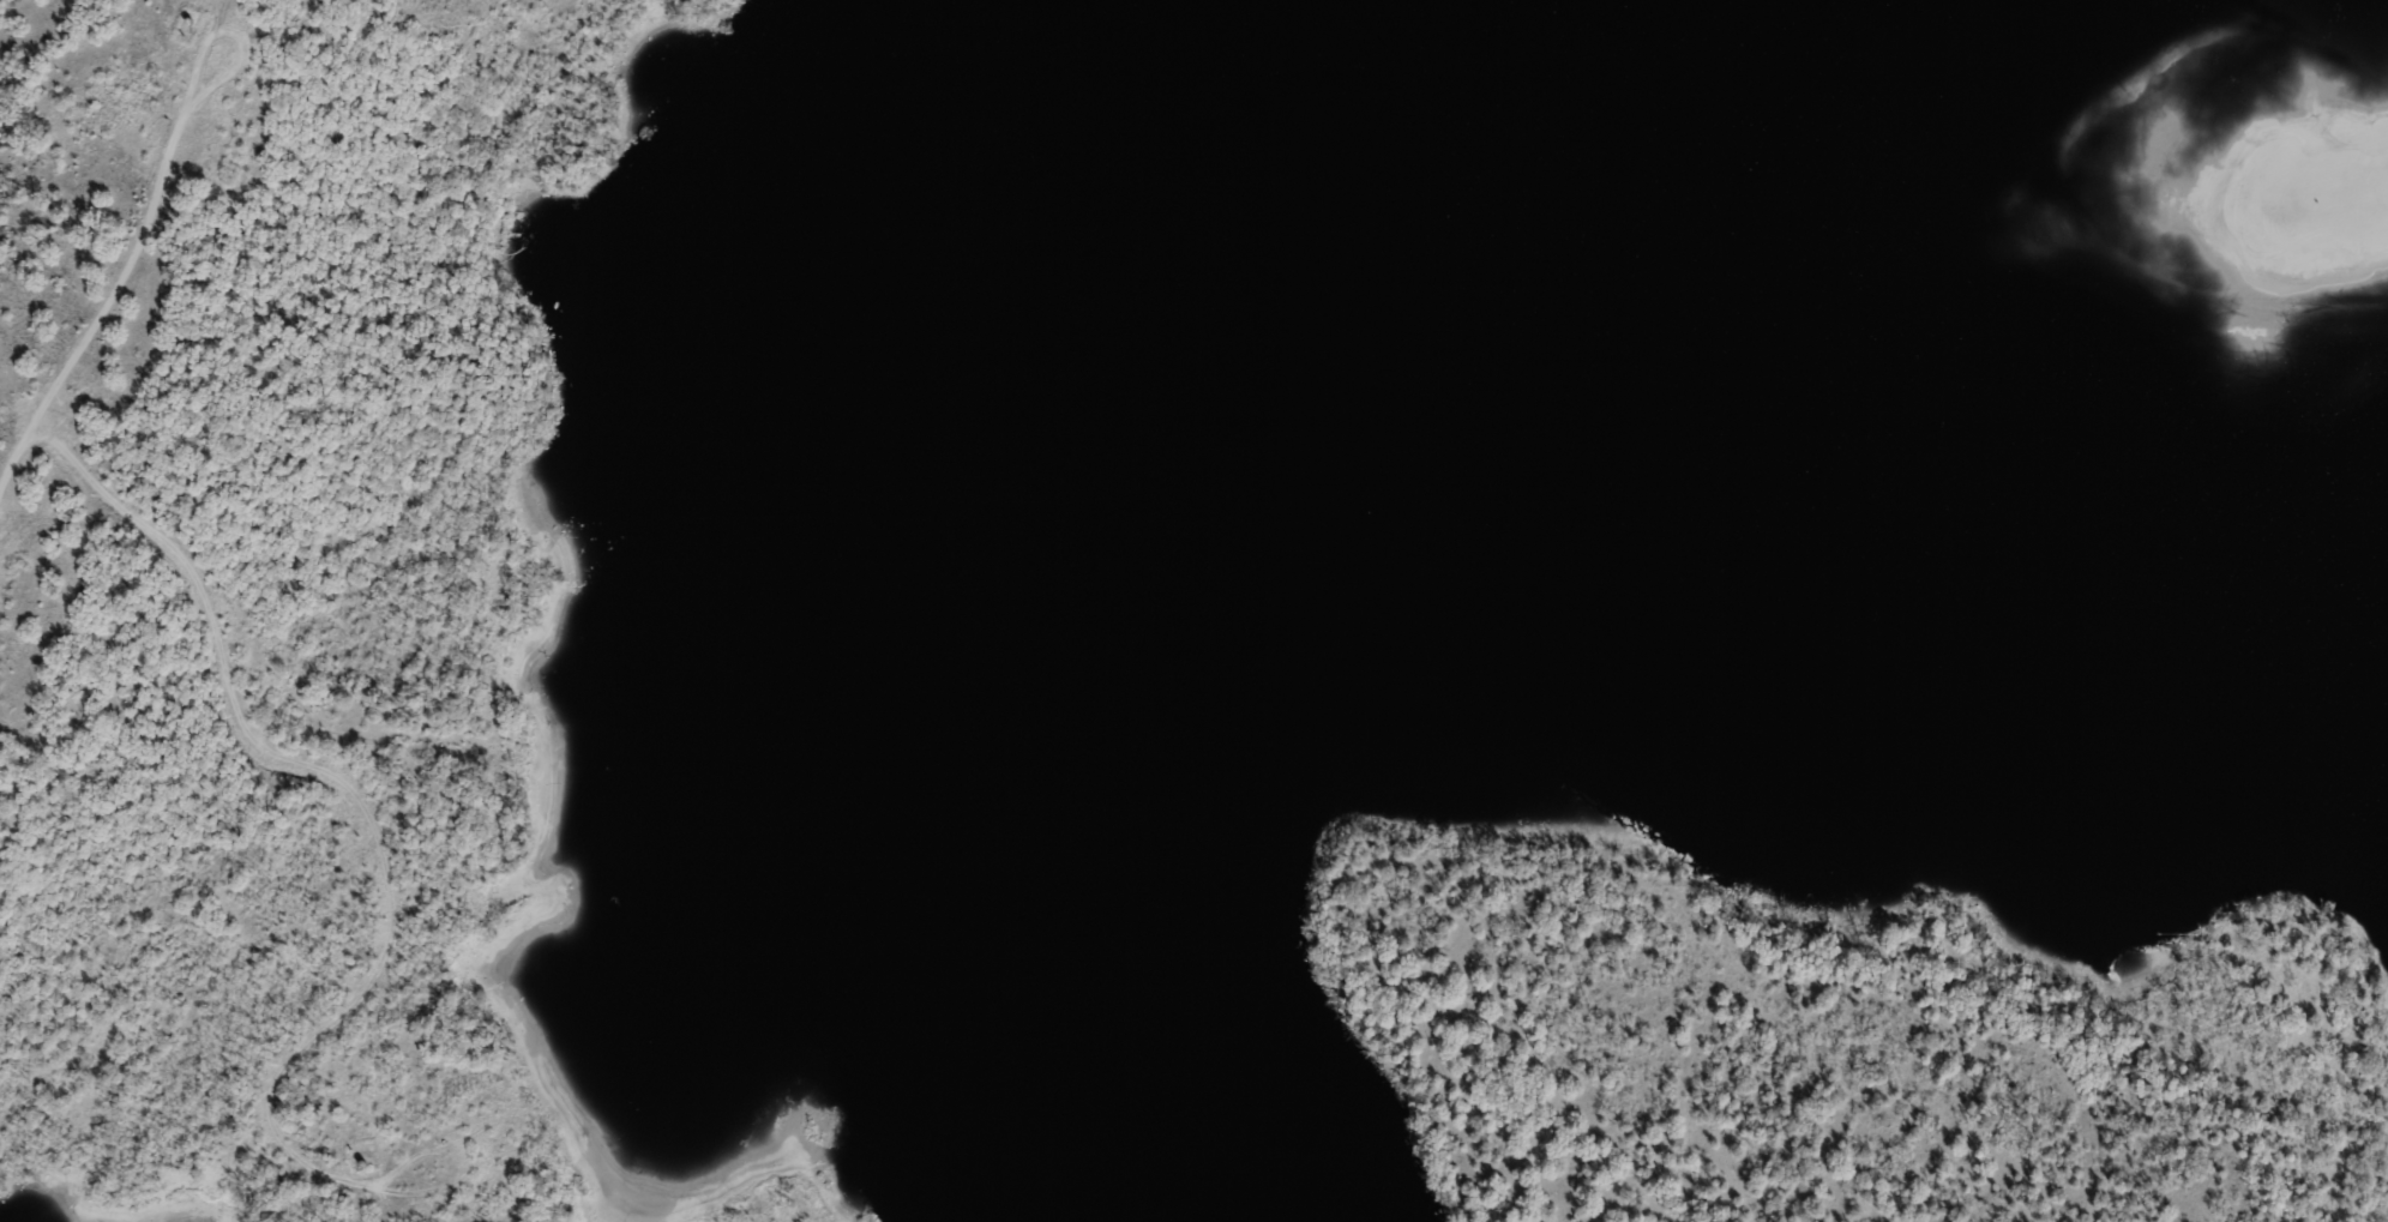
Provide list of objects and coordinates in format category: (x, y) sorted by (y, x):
park: (2282, 185)
road: (116, 275)
road: (353, 784)

